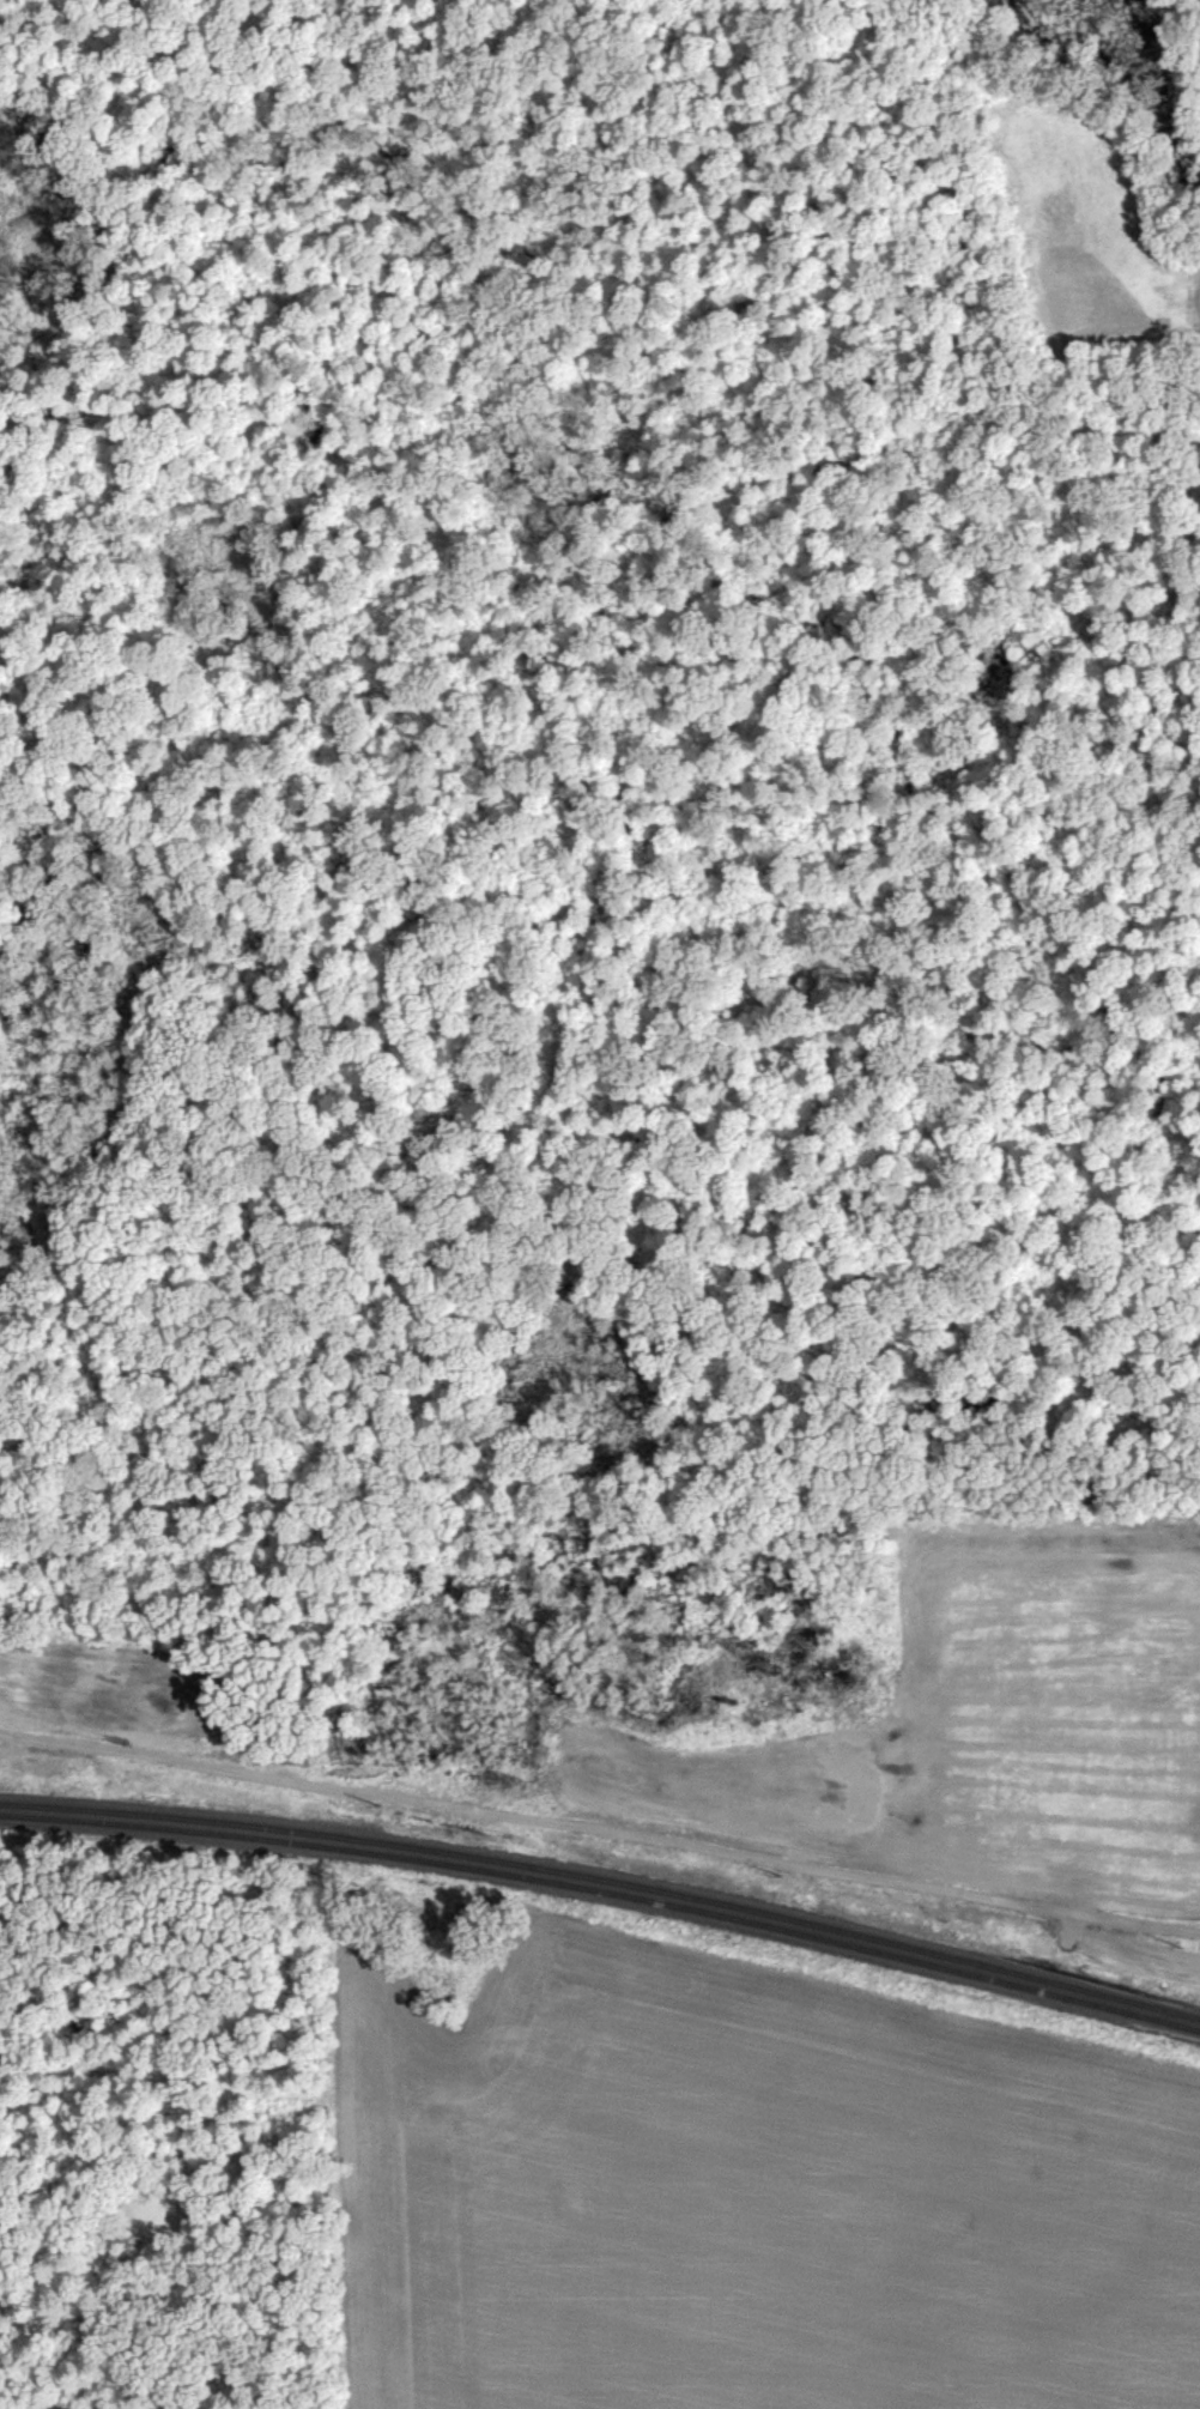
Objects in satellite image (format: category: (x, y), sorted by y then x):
railway: (605, 1877)
railway: (605, 1892)

